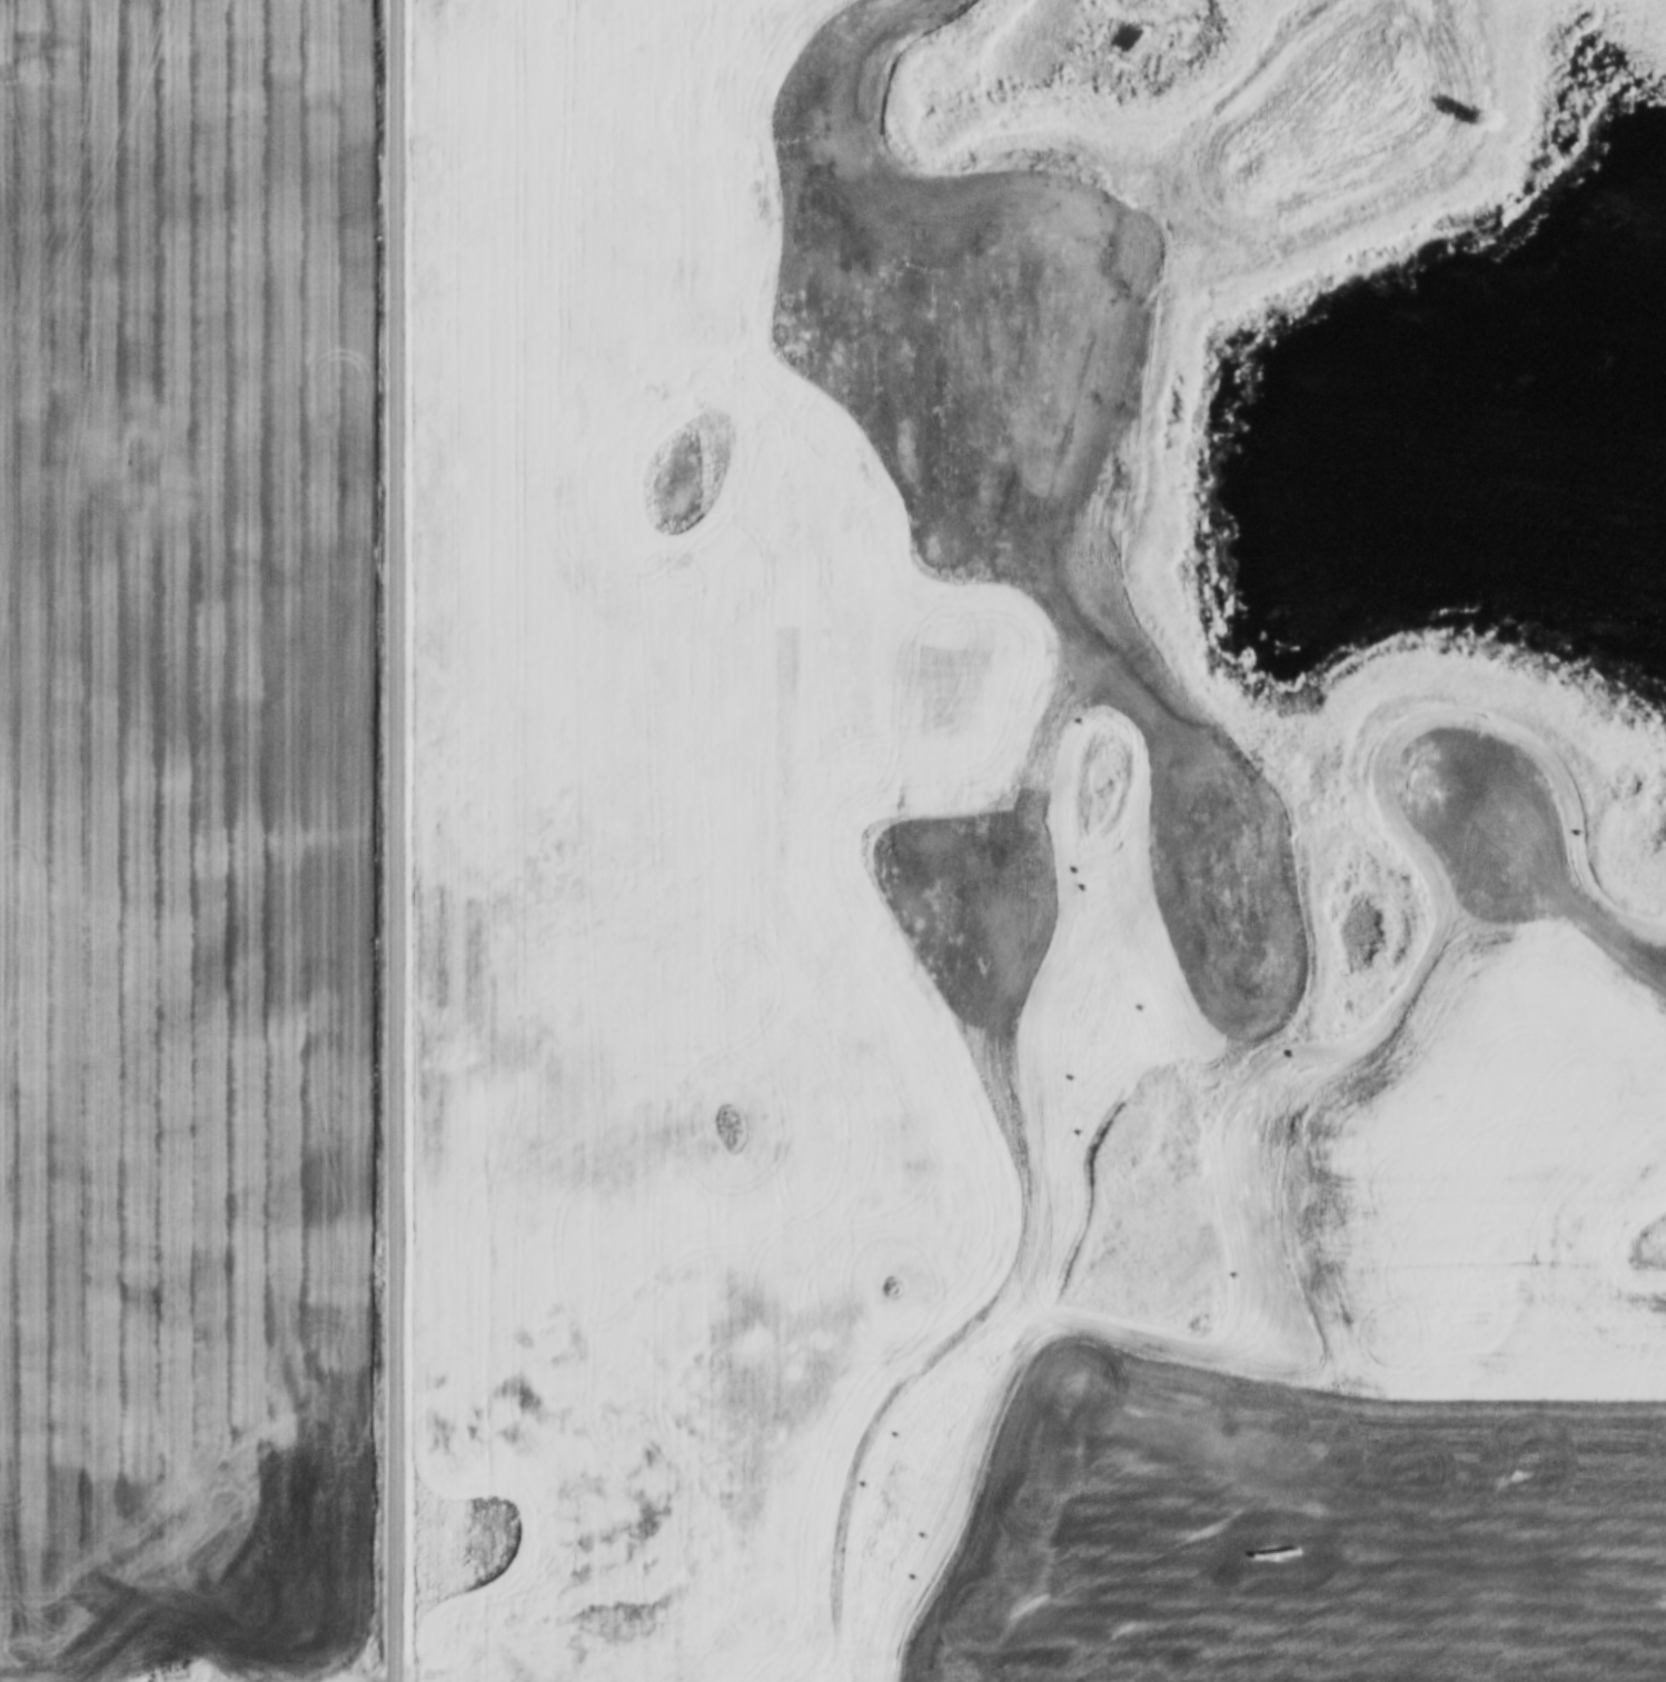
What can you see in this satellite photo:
road: (395, 840)
road: (373, 1676)

